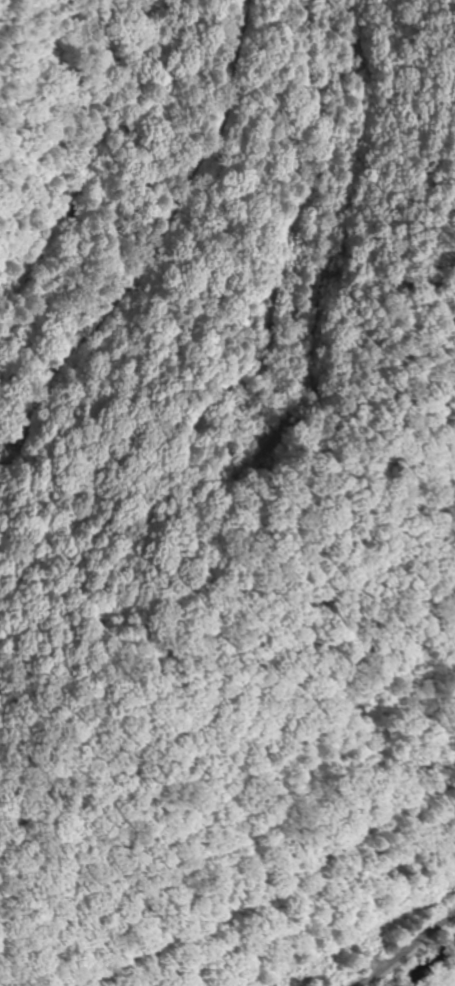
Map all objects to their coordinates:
road: (408, 950)

